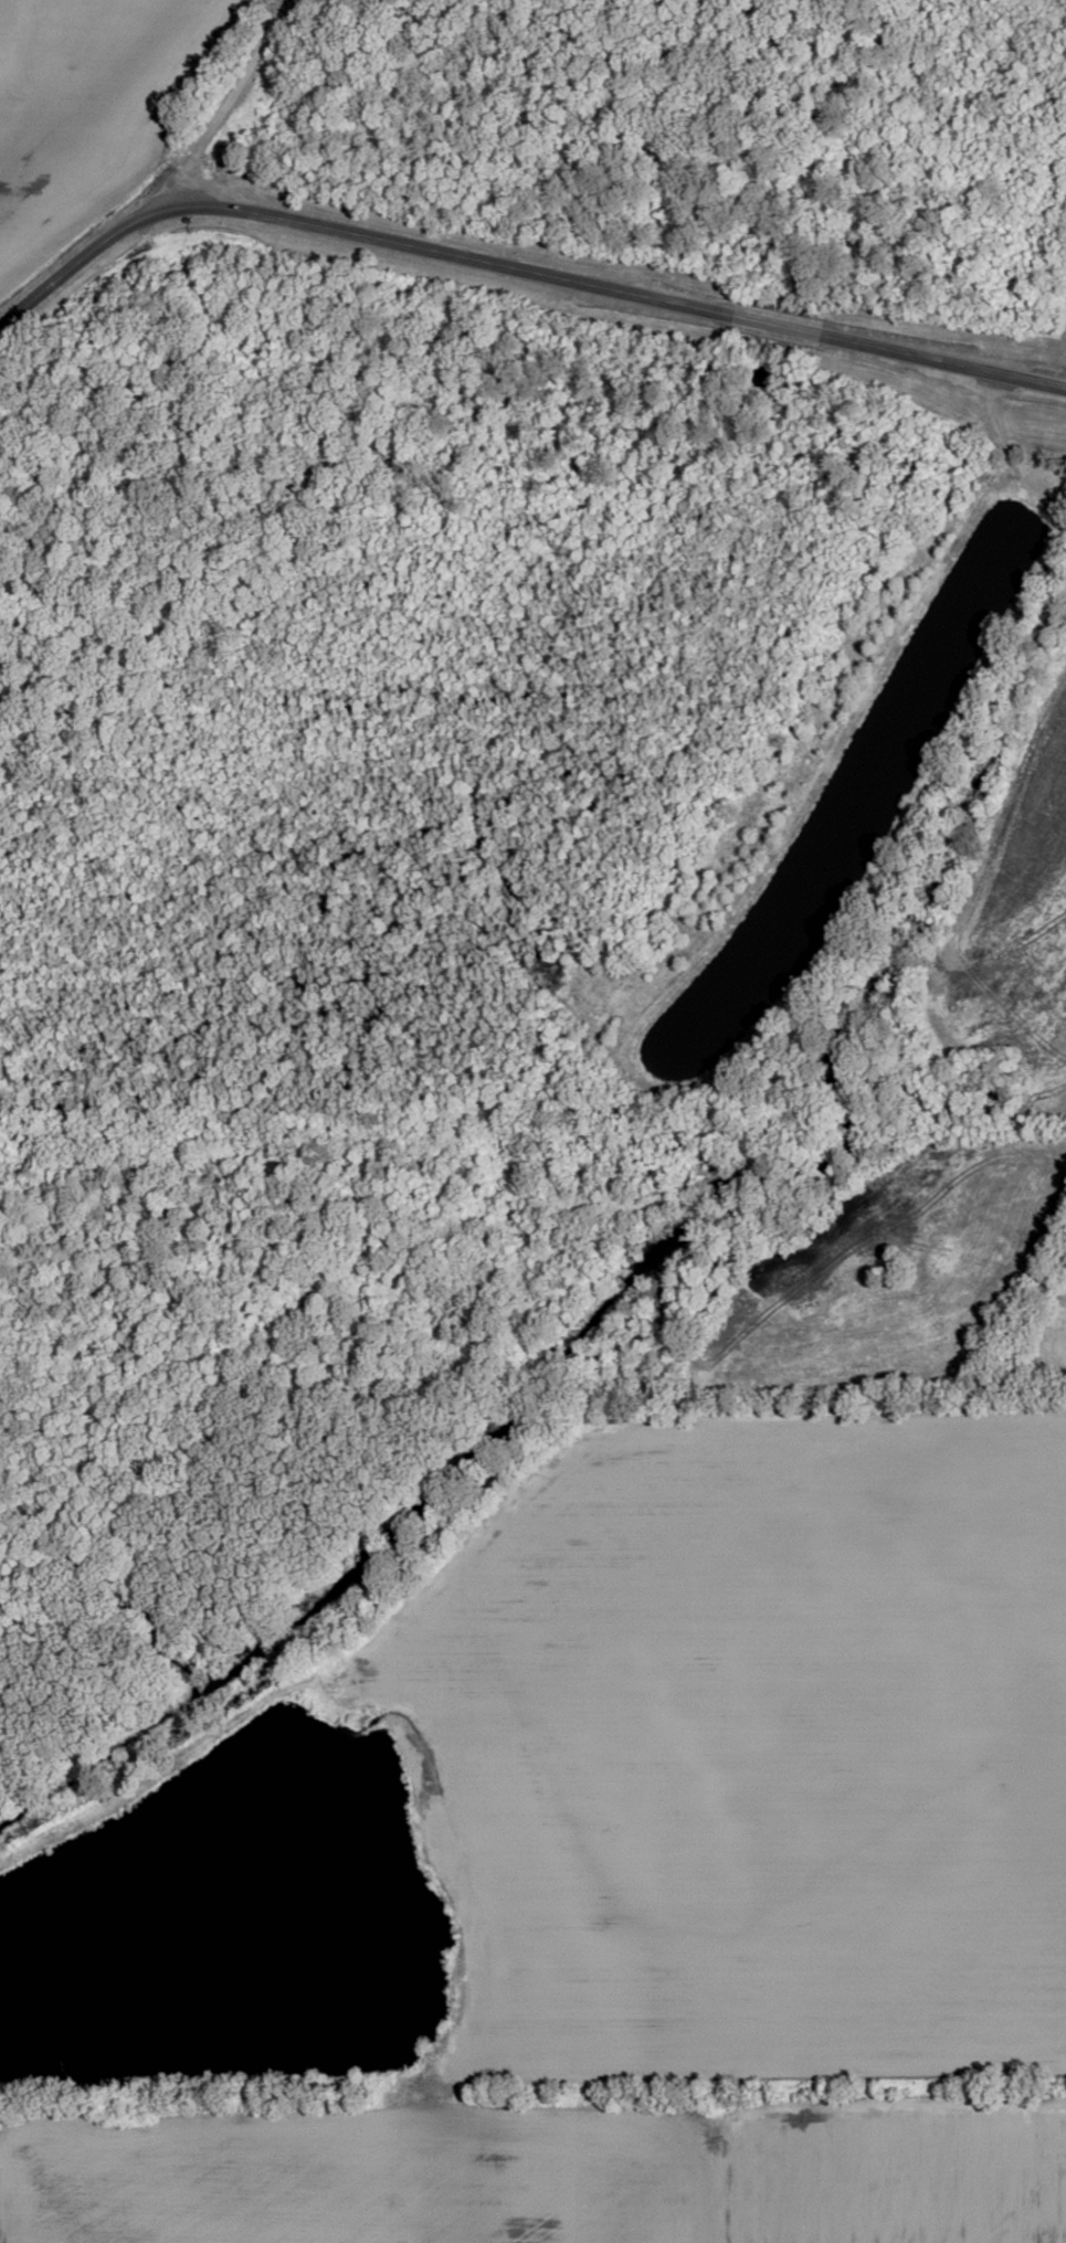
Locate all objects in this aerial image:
road: (169, 187)
road: (610, 293)
railway: (532, 1138)
crop: (880, 2176)
crop: (349, 2177)

